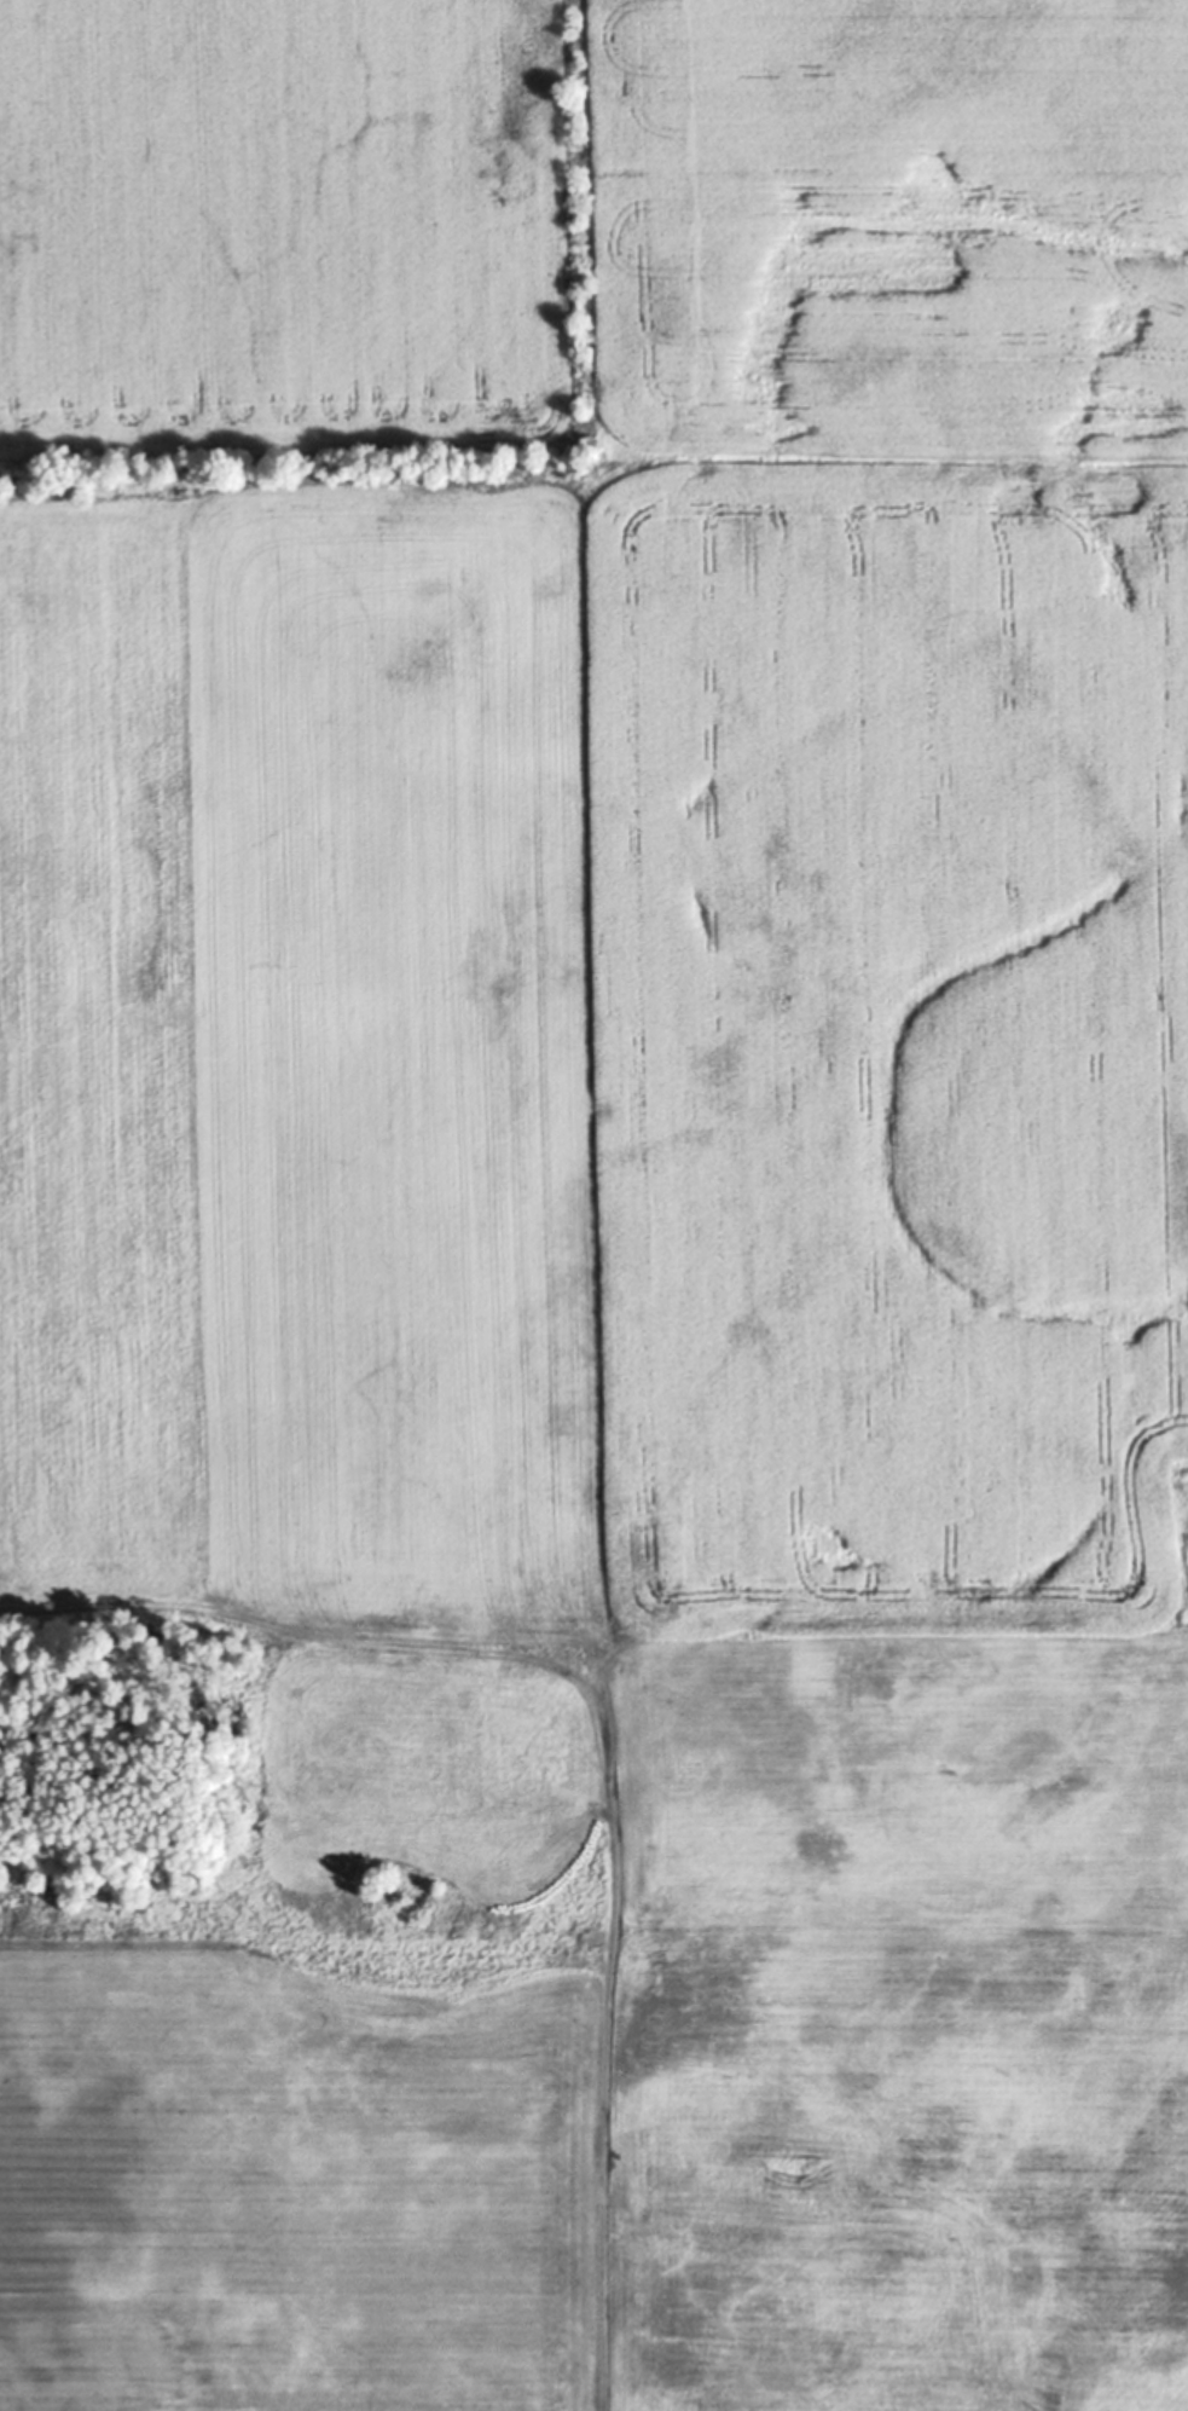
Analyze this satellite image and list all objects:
road: (610, 1828)

